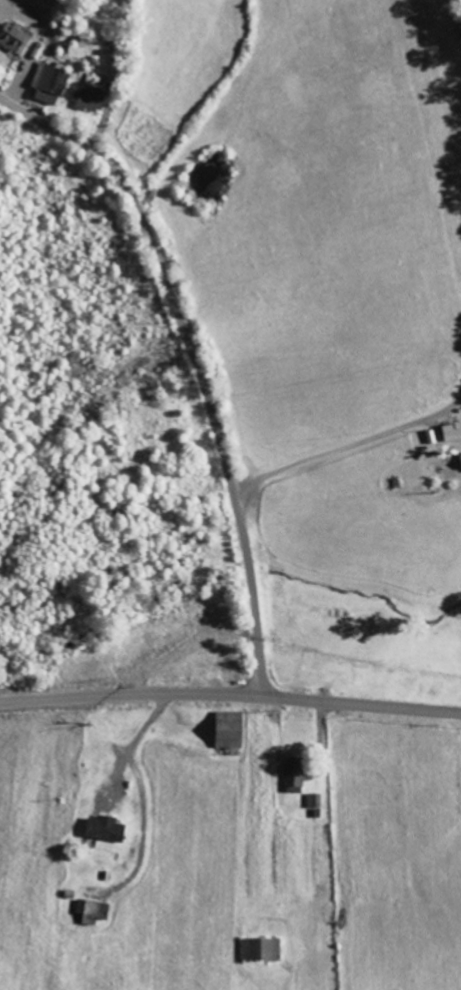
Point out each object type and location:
building: (13, 38)
building: (49, 84)
road: (195, 360)
building: (454, 433)
road: (230, 695)
building: (292, 773)
building: (107, 830)
building: (92, 911)
building: (261, 950)

